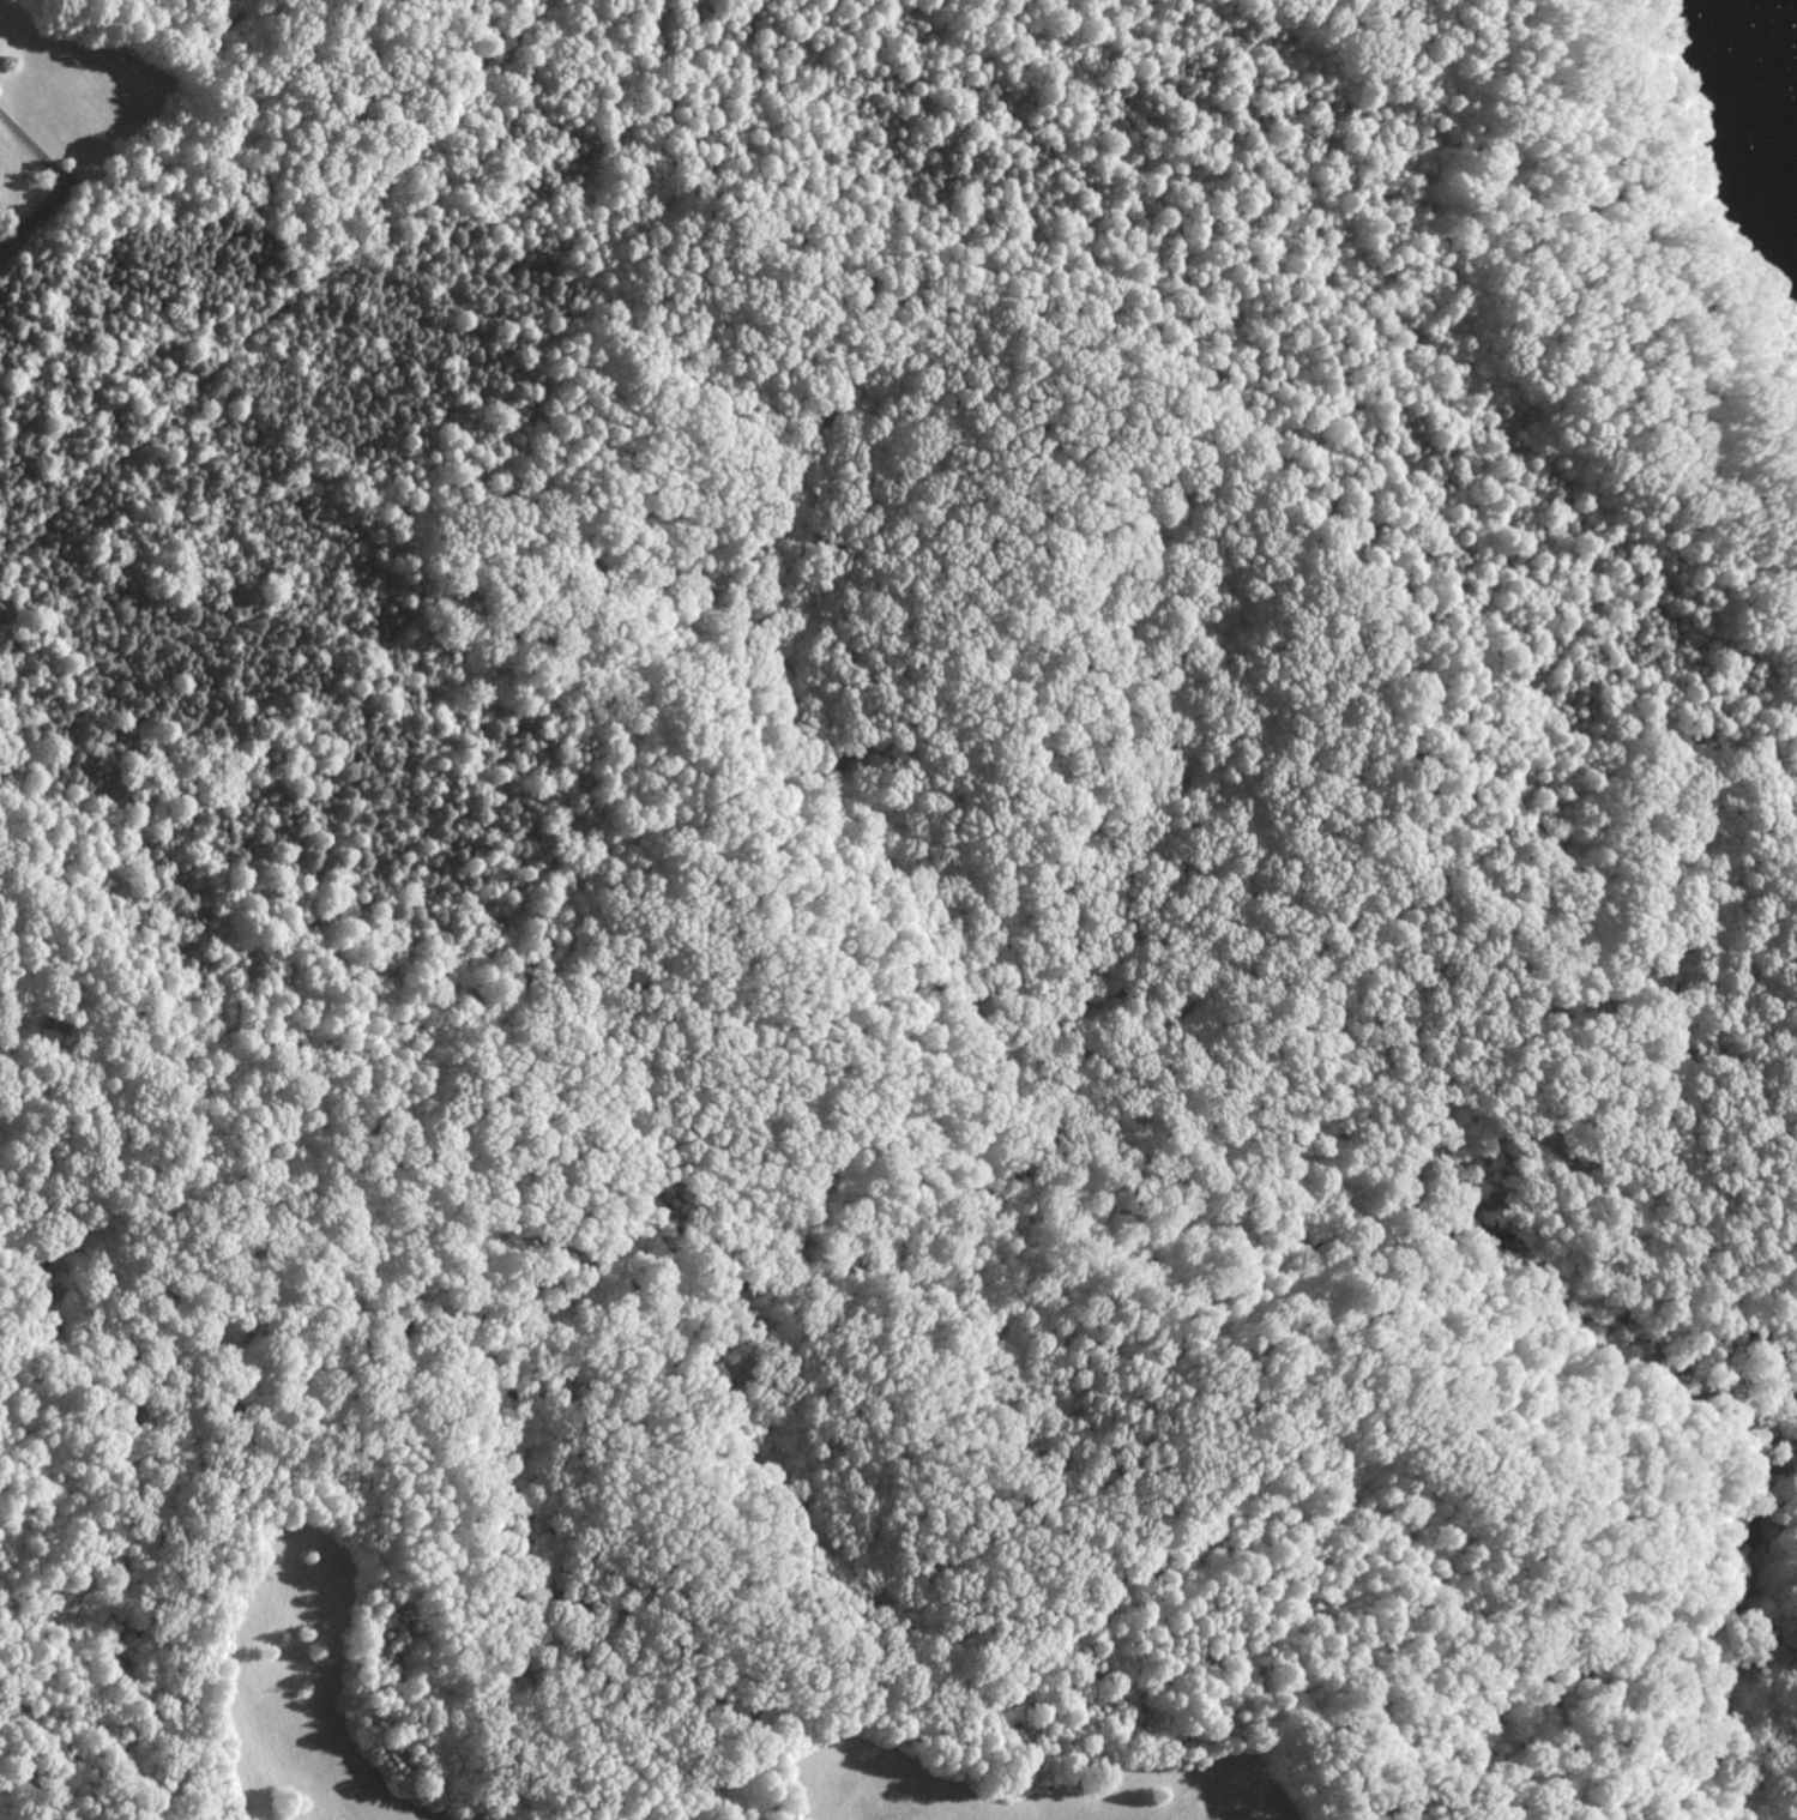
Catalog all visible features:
road: (32, 221)
park: (899, 923)

